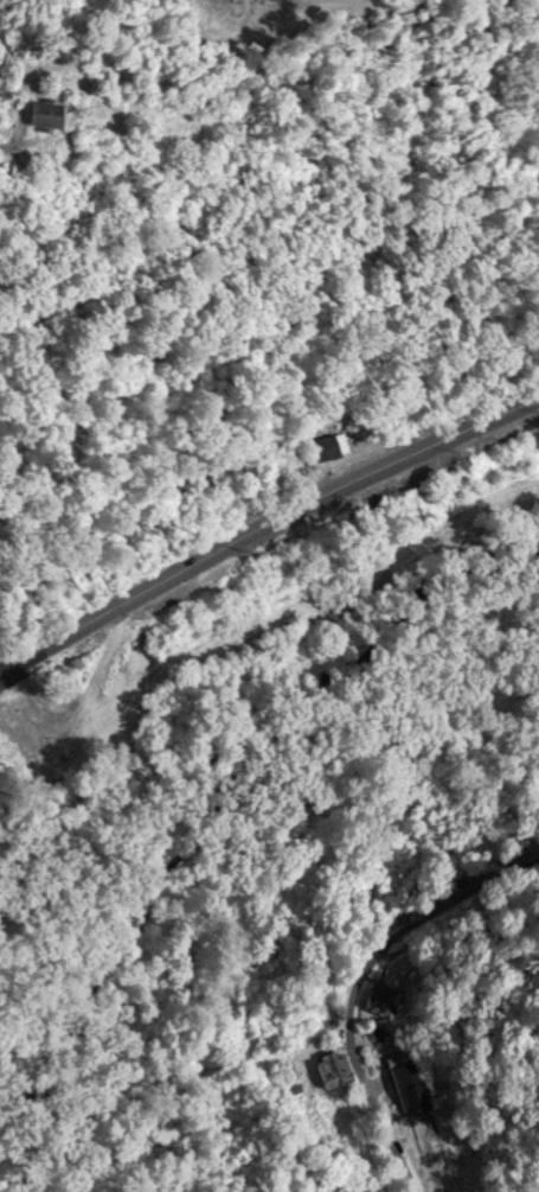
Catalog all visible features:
building: (39, 113)
building: (326, 446)
building: (177, 483)
road: (264, 522)
road: (357, 981)
building: (380, 1000)
building: (332, 1070)
building: (408, 1083)
building: (334, 1188)

